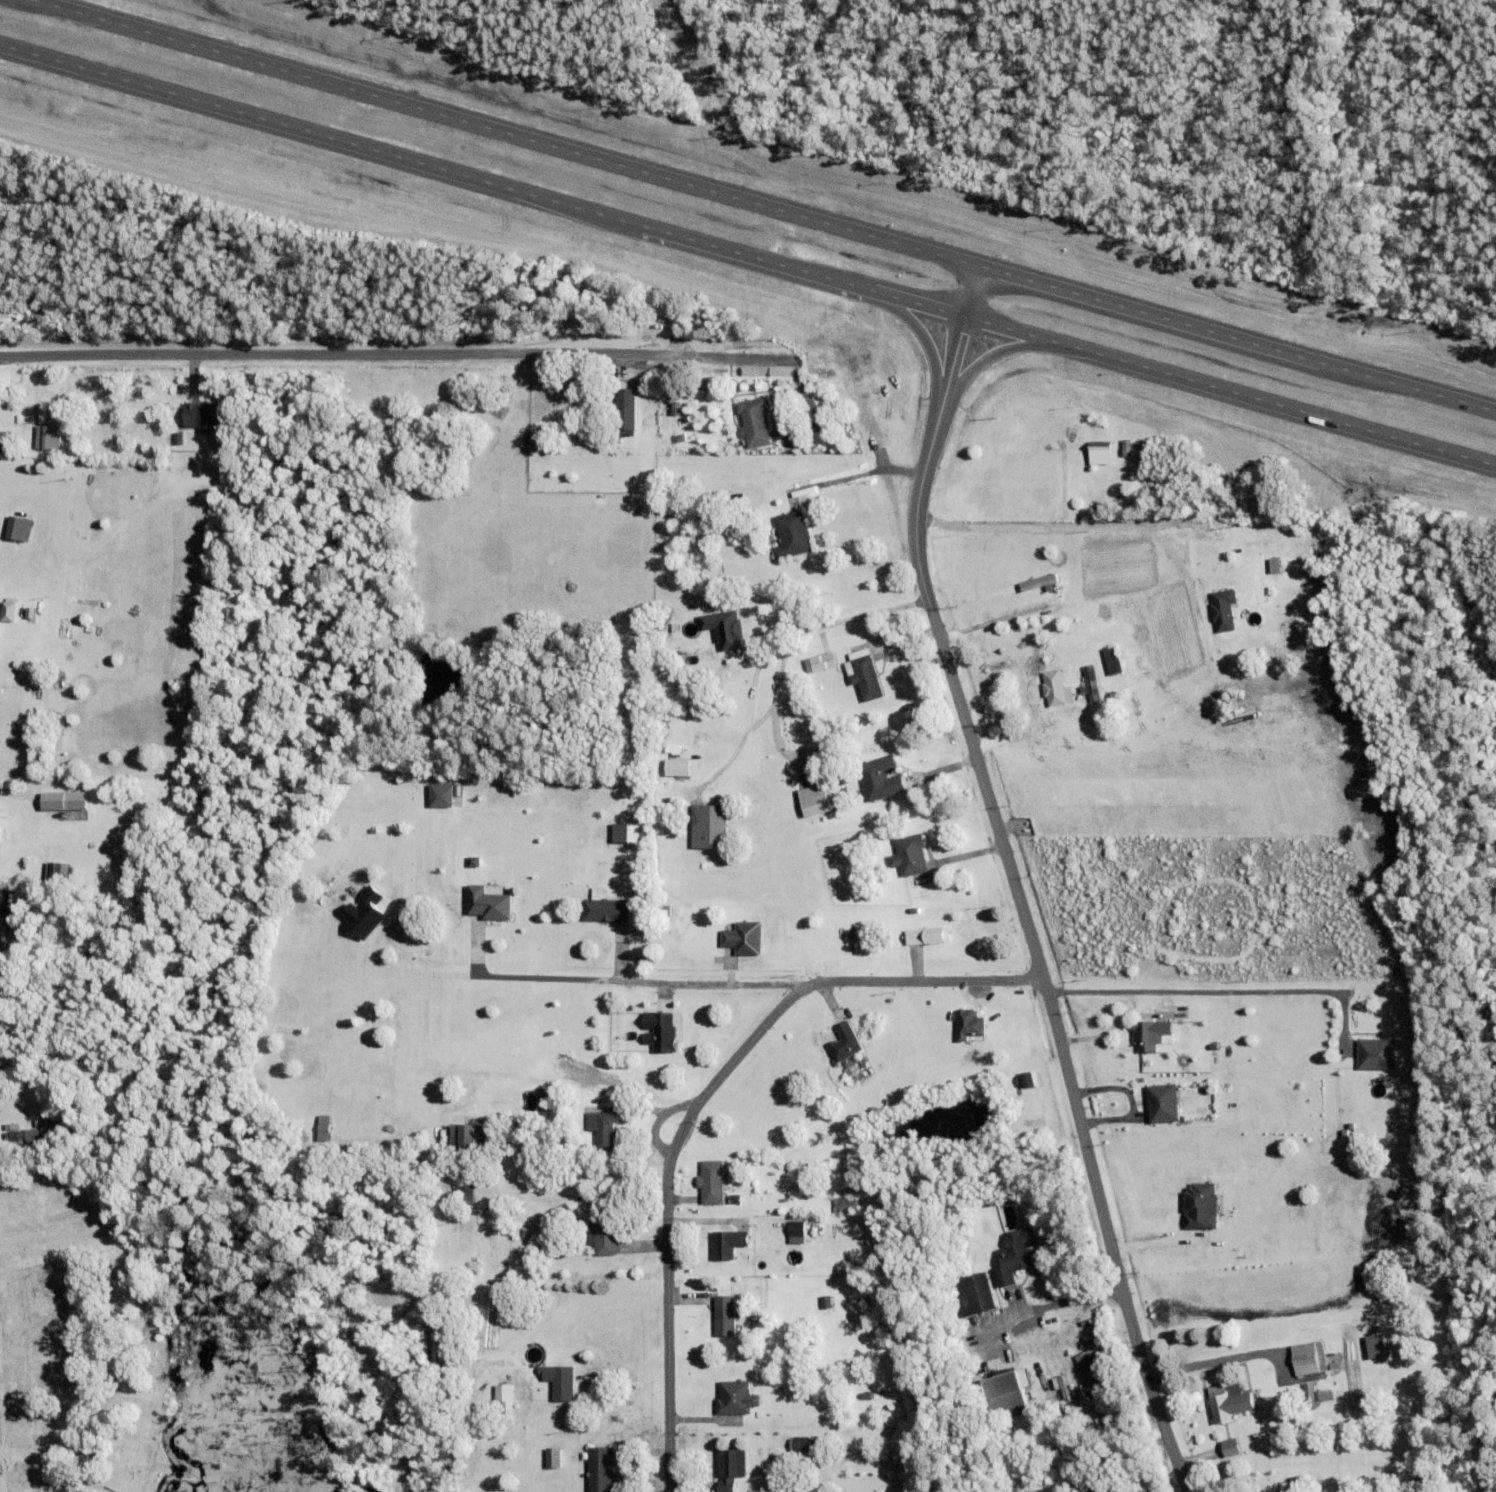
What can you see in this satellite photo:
road: (763, 205)
road: (748, 256)
road: (424, 358)
building: (499, 407)
building: (626, 410)
building: (203, 413)
building: (754, 420)
building: (47, 435)
building: (3, 437)
building: (179, 437)
building: (680, 437)
building: (539, 441)
building: (10, 449)
building: (1100, 452)
building: (1098, 479)
building: (683, 503)
building: (672, 504)
building: (711, 504)
building: (681, 514)
building: (722, 518)
building: (15, 525)
road: (1076, 526)
building: (791, 533)
building: (1253, 542)
building: (1280, 578)
building: (1040, 581)
building: (8, 609)
building: (1223, 609)
road: (989, 619)
building: (722, 628)
road: (786, 637)
building: (1137, 652)
building: (1113, 659)
building: (822, 660)
building: (709, 670)
building: (866, 677)
building: (1090, 683)
building: (1056, 687)
building: (719, 699)
building: (657, 765)
building: (677, 766)
building: (880, 777)
building: (664, 786)
building: (442, 794)
building: (813, 799)
building: (63, 800)
building: (708, 825)
building: (624, 831)
building: (909, 854)
building: (627, 870)
building: (58, 871)
building: (639, 874)
road: (1013, 880)
building: (489, 902)
building: (598, 908)
building: (915, 909)
building: (927, 935)
building: (865, 936)
building: (744, 937)
building: (801, 945)
building: (662, 953)
road: (635, 988)
road: (1222, 992)
building: (997, 1015)
building: (969, 1023)
building: (658, 1030)
building: (1150, 1034)
building: (844, 1043)
building: (1378, 1054)
building: (1027, 1079)
building: (548, 1100)
road: (699, 1102)
building: (1163, 1103)
building: (11, 1126)
building: (324, 1127)
building: (603, 1128)
building: (47, 1129)
building: (13, 1135)
building: (467, 1135)
building: (33, 1136)
building: (31, 1147)
building: (712, 1181)
building: (467, 1195)
building: (581, 1197)
building: (735, 1198)
building: (845, 1205)
building: (1199, 1205)
building: (541, 1227)
building: (798, 1232)
building: (604, 1236)
building: (727, 1243)
building: (1015, 1255)
building: (973, 1295)
building: (827, 1301)
building: (749, 1304)
road: (1049, 1305)
building: (827, 1313)
building: (725, 1316)
building: (1375, 1346)
building: (1308, 1358)
building: (1091, 1369)
building: (560, 1381)
building: (1035, 1382)
building: (1007, 1393)
building: (1314, 1395)
building: (868, 1396)
building: (504, 1398)
building: (736, 1398)
building: (1221, 1404)
building: (803, 1445)
building: (1232, 1448)
building: (553, 1457)
building: (730, 1468)
building: (600, 1469)
building: (1415, 1486)
building: (1095, 1487)
building: (1289, 1490)

